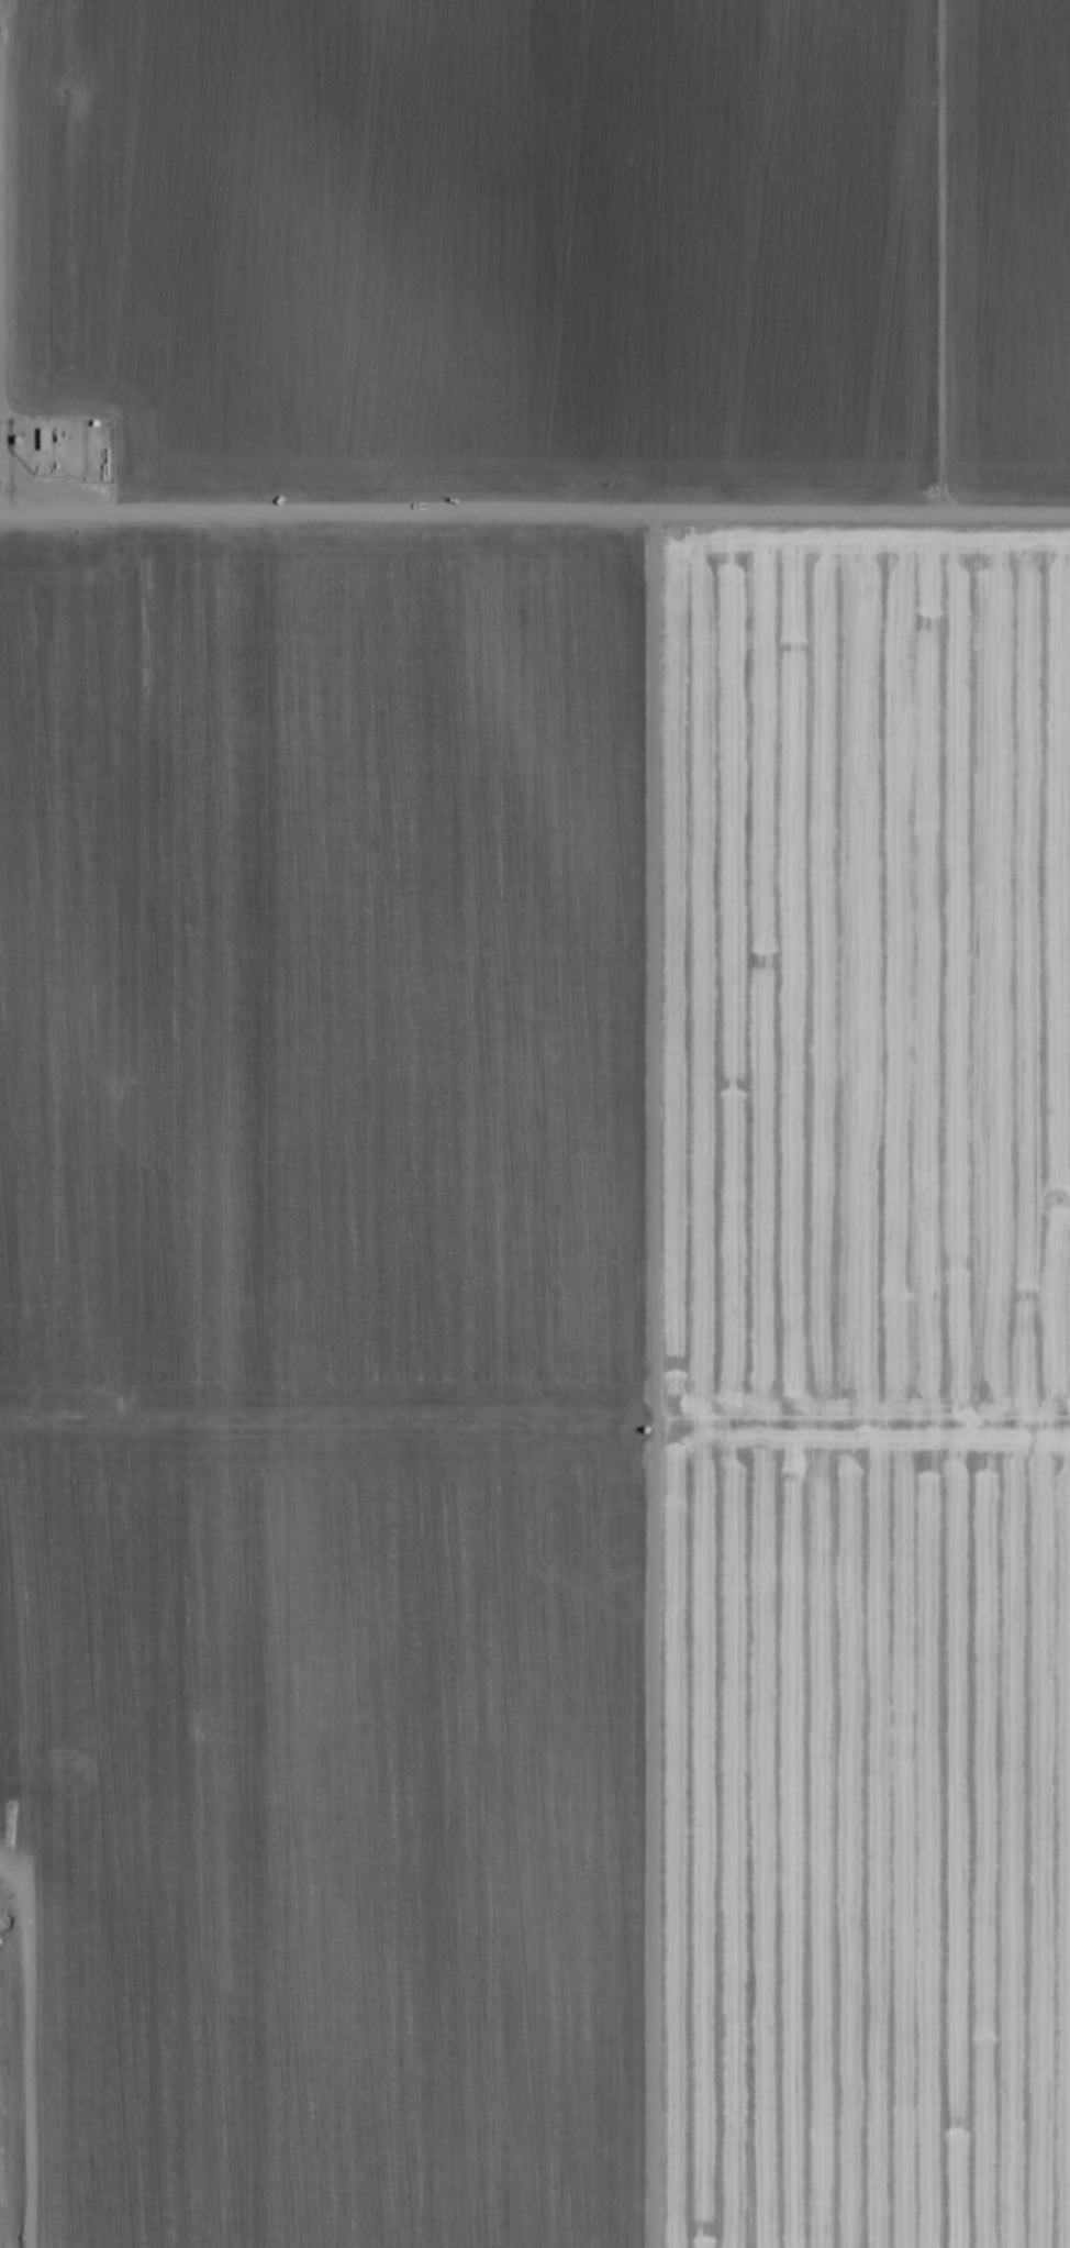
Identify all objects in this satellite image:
building: (43, 440)
road: (535, 497)
crop: (536, 1120)

